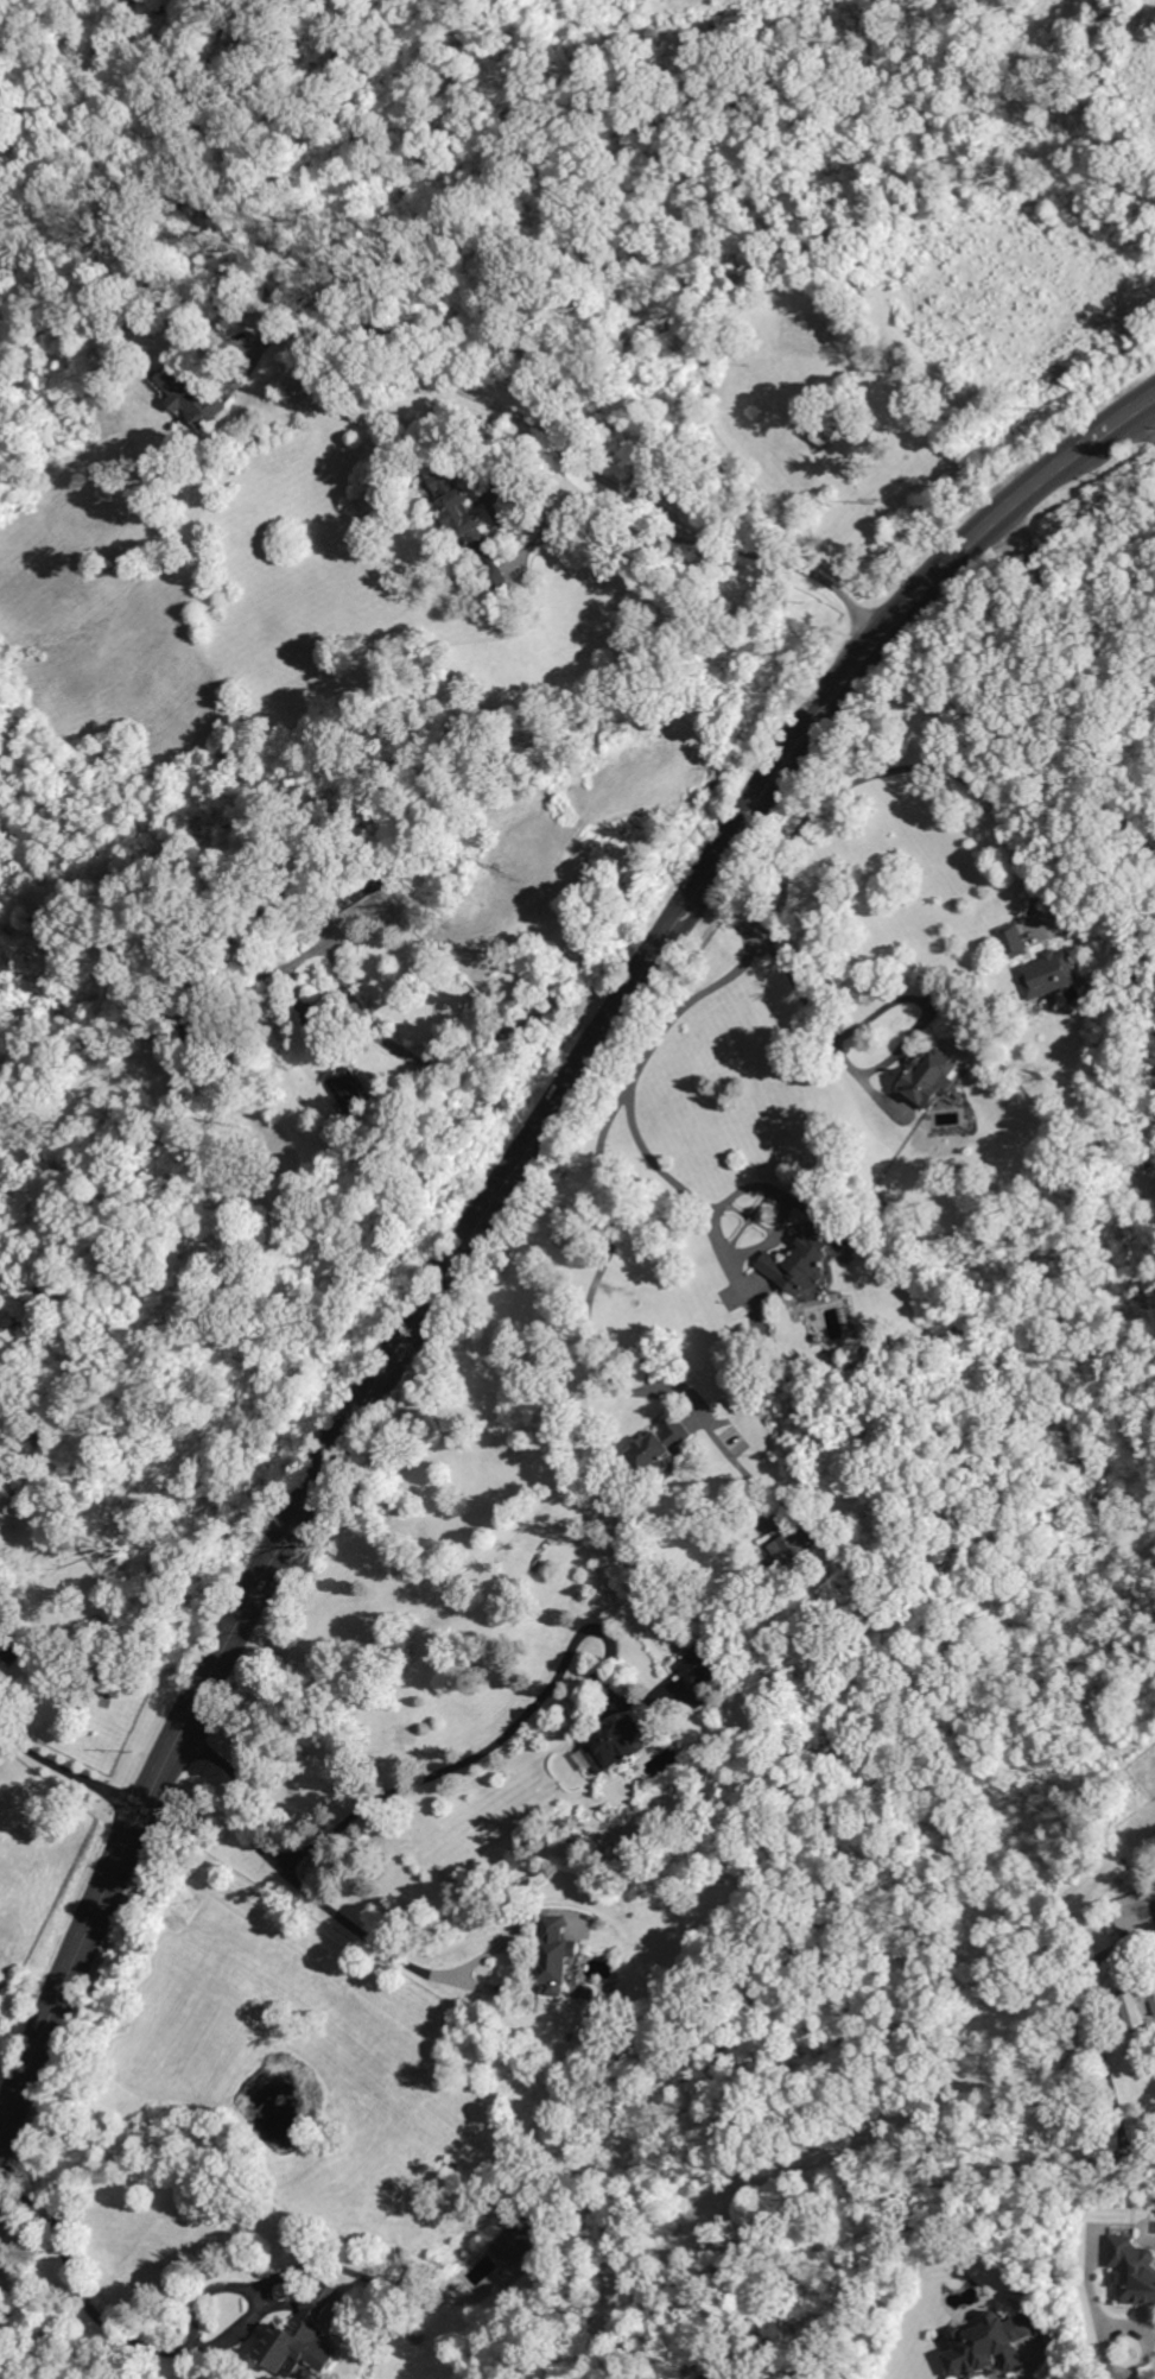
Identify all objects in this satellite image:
building: (284, 278)
road: (227, 371)
building: (192, 397)
road: (1132, 411)
road: (1149, 411)
road: (577, 453)
building: (469, 529)
road: (628, 532)
road: (972, 542)
road: (902, 767)
building: (357, 897)
building: (1011, 941)
building: (1049, 974)
building: (207, 988)
road: (807, 999)
building: (191, 1025)
building: (343, 1077)
building: (929, 1077)
road: (605, 1134)
road: (664, 1171)
building: (802, 1264)
building: (853, 1320)
building: (817, 1337)
road: (376, 1385)
building: (658, 1450)
road: (732, 1455)
building: (798, 1542)
building: (15, 1647)
building: (696, 1669)
building: (615, 1740)
road: (71, 1769)
road: (442, 1772)
building: (1134, 1911)
road: (1138, 1941)
building: (556, 1954)
road: (442, 1974)
building: (589, 1993)
building: (1135, 2007)
road: (1094, 2036)
road: (922, 2149)
building: (601, 2172)
road: (856, 2201)
building: (494, 2258)
building: (1131, 2271)
road: (266, 2282)
building: (302, 2335)
building: (417, 2339)
building: (988, 2346)
road: (1127, 2358)

